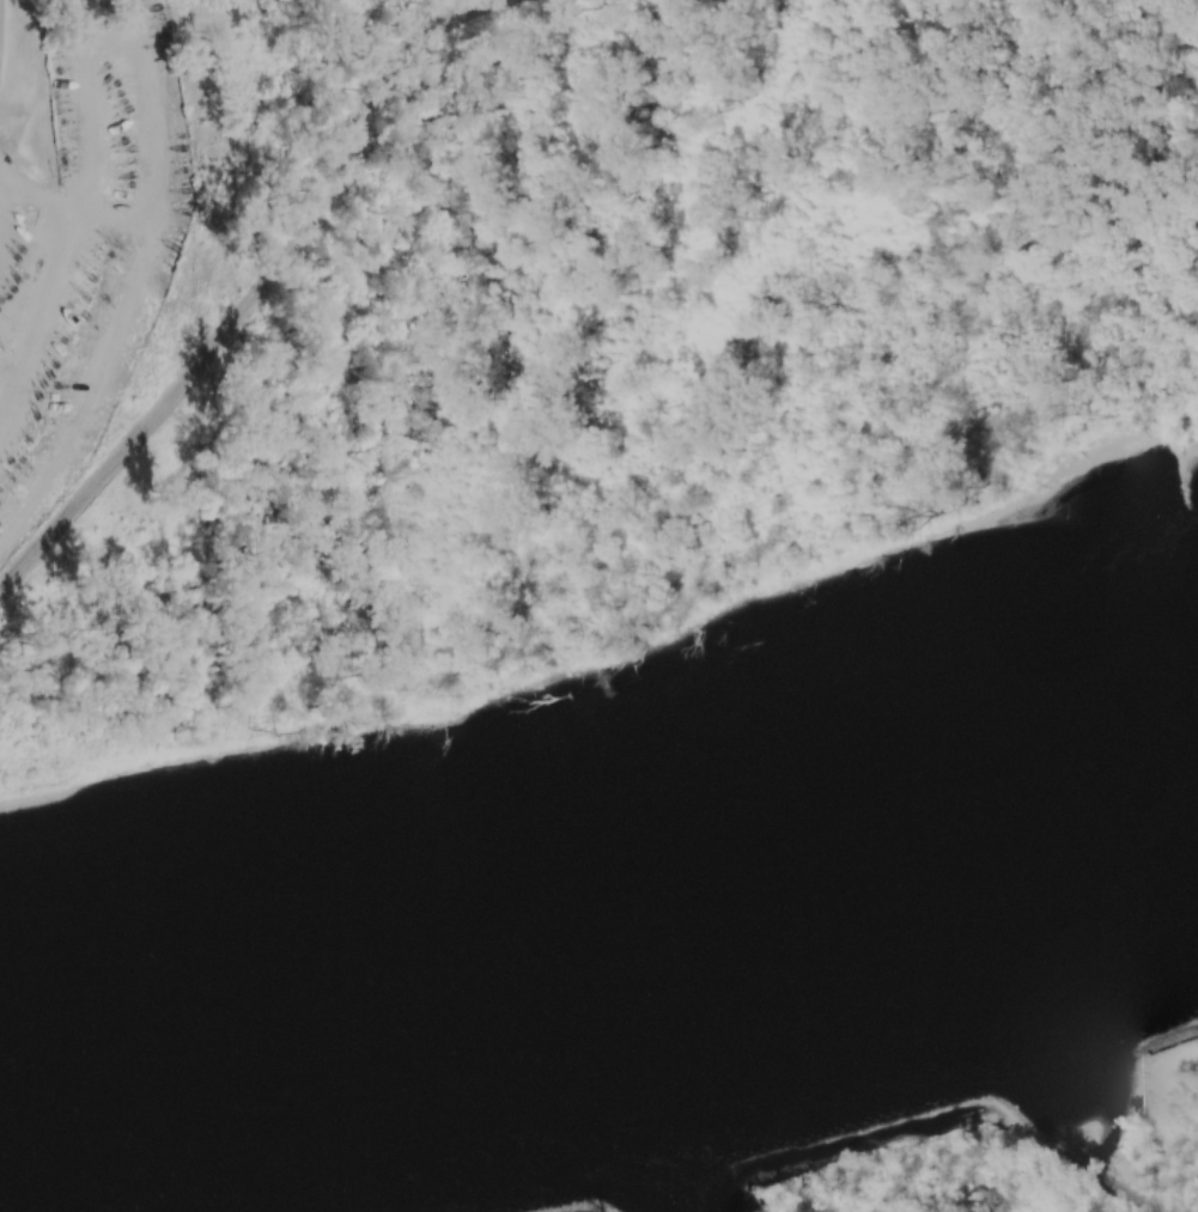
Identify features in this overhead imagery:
road: (110, 28)
road: (16, 176)
road: (14, 188)
road: (50, 194)
road: (107, 207)
road: (59, 232)
road: (147, 235)
road: (261, 290)
park: (542, 336)
river: (602, 931)

